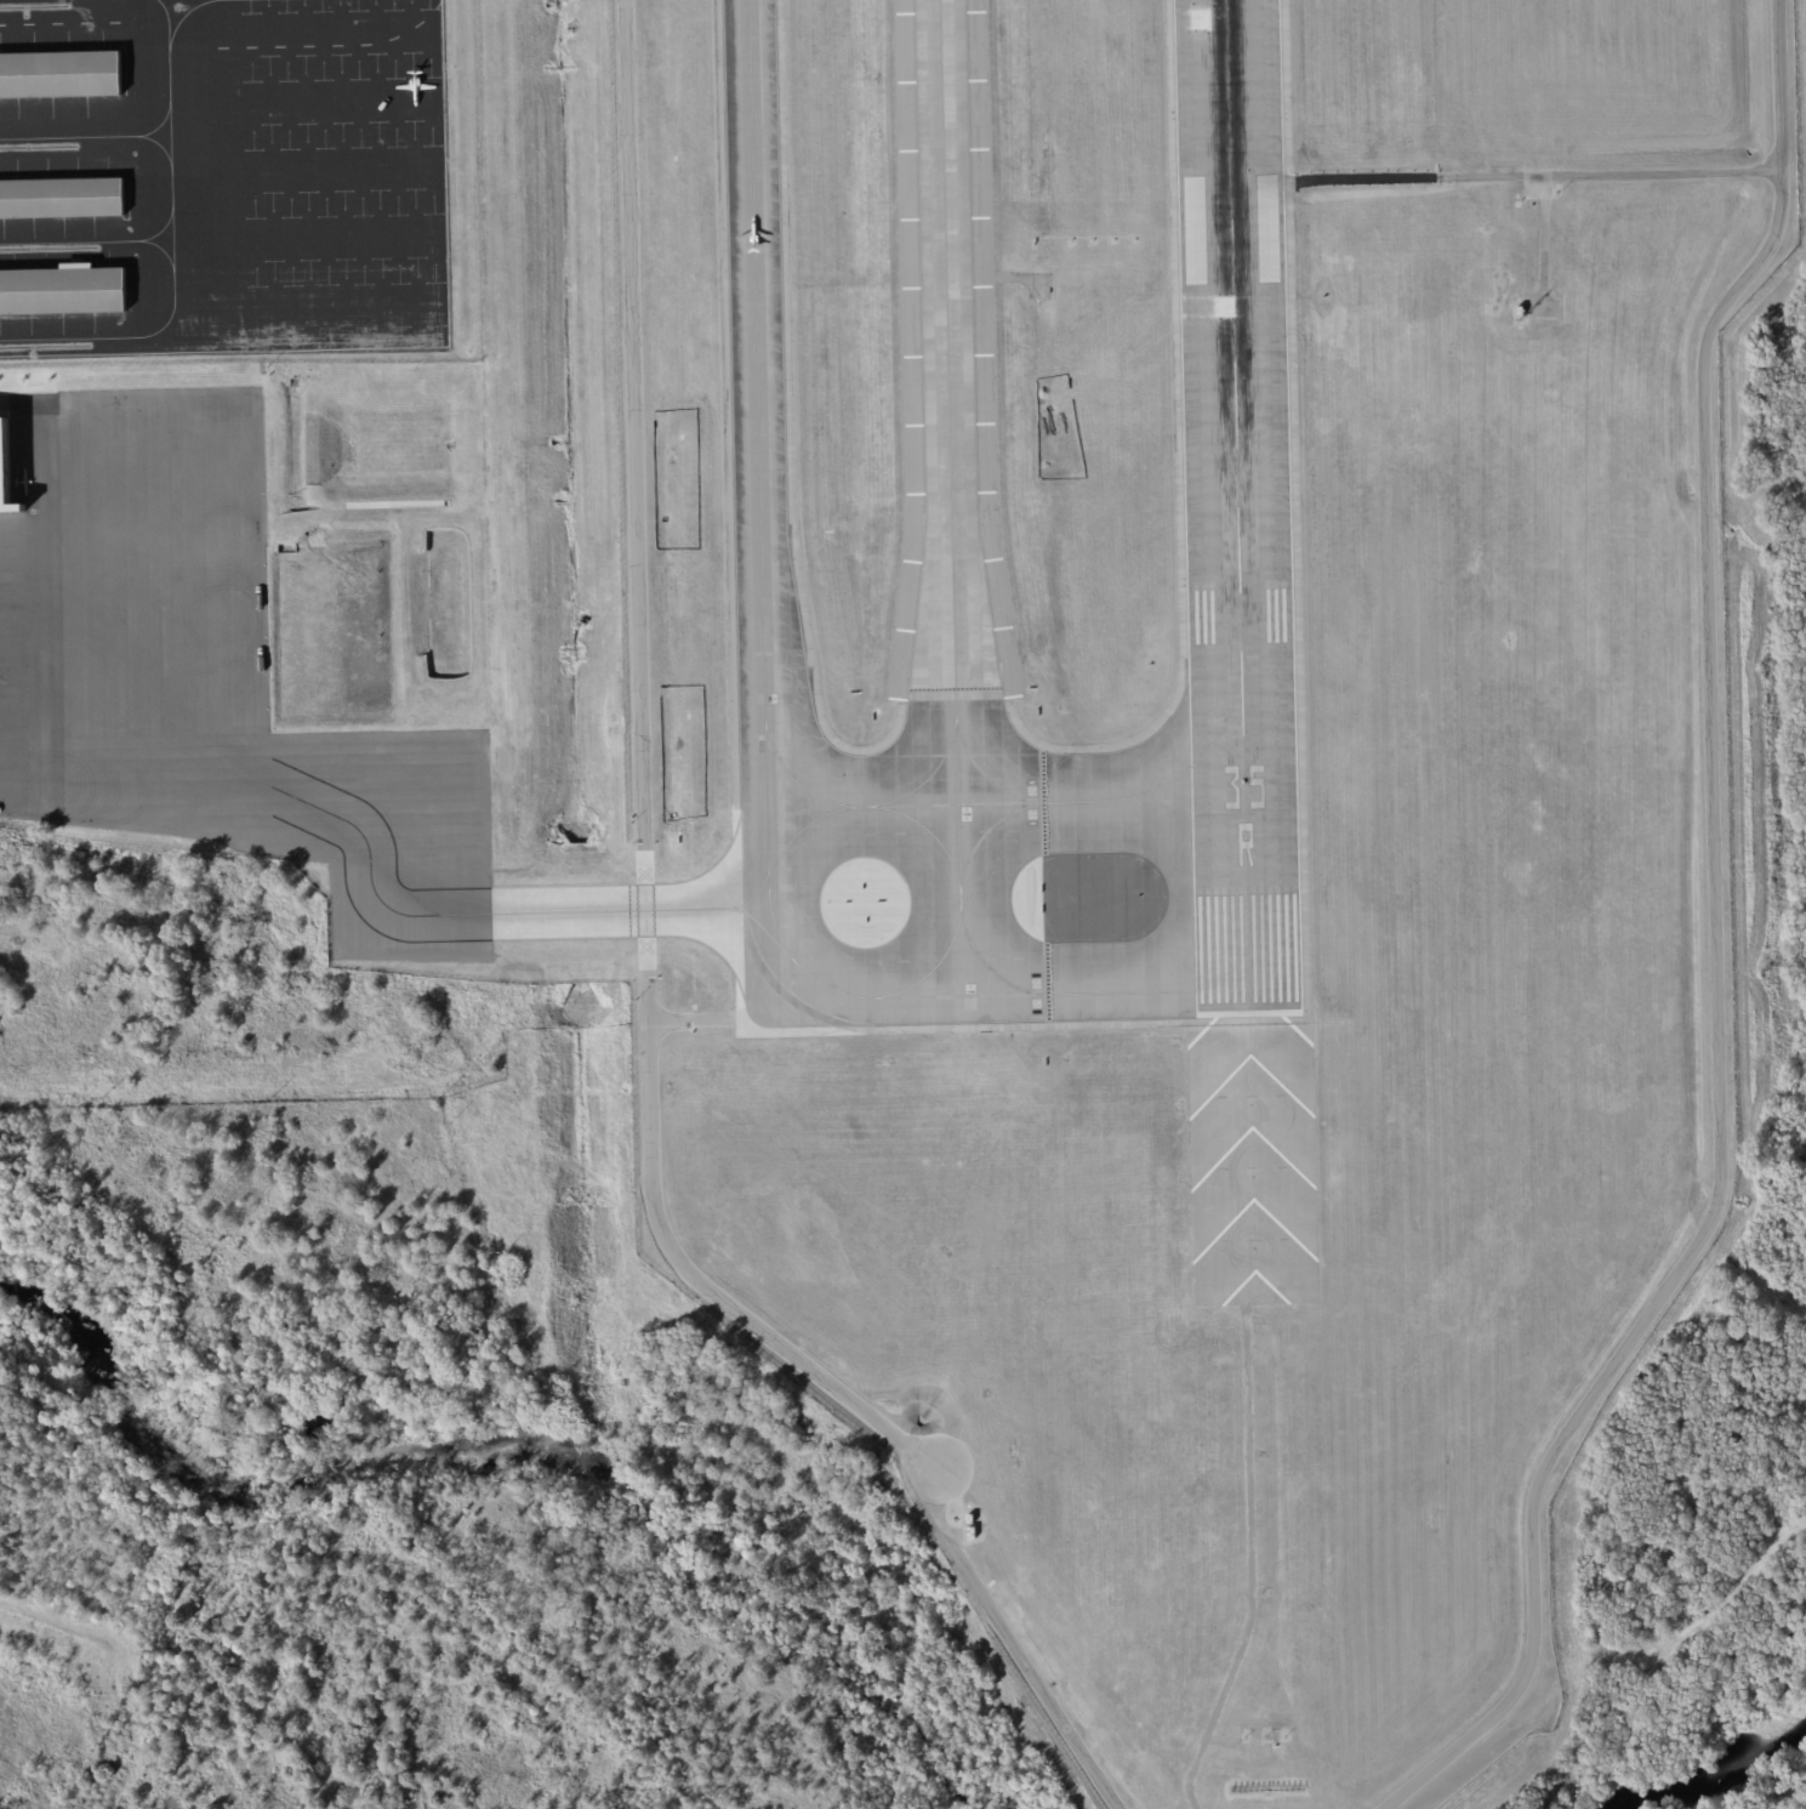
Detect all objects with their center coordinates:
building: (59, 76)
airport apron: (285, 176)
road: (1531, 180)
building: (61, 199)
building: (1193, 231)
building: (62, 292)
building: (1523, 313)
building: (45, 317)
airport taxiway: (948, 455)
road: (39, 476)
building: (7, 478)
airport runway: (1236, 504)
road: (21, 654)
airport apron: (211, 671)
airport taxiway: (764, 743)
airport taxiway: (1093, 801)
airport taxiway: (1043, 802)
airport taxiway: (860, 807)
road: (1294, 832)
airport taxiway: (754, 897)
airport: (902, 904)
airport taxiway: (756, 909)
airport taxiway: (496, 910)
road: (1714, 951)
airport taxiway: (984, 963)
airport taxiway: (933, 968)
road: (645, 990)
building: (972, 1521)
building: (970, 1534)
road: (1247, 1591)
river: (1721, 1774)

